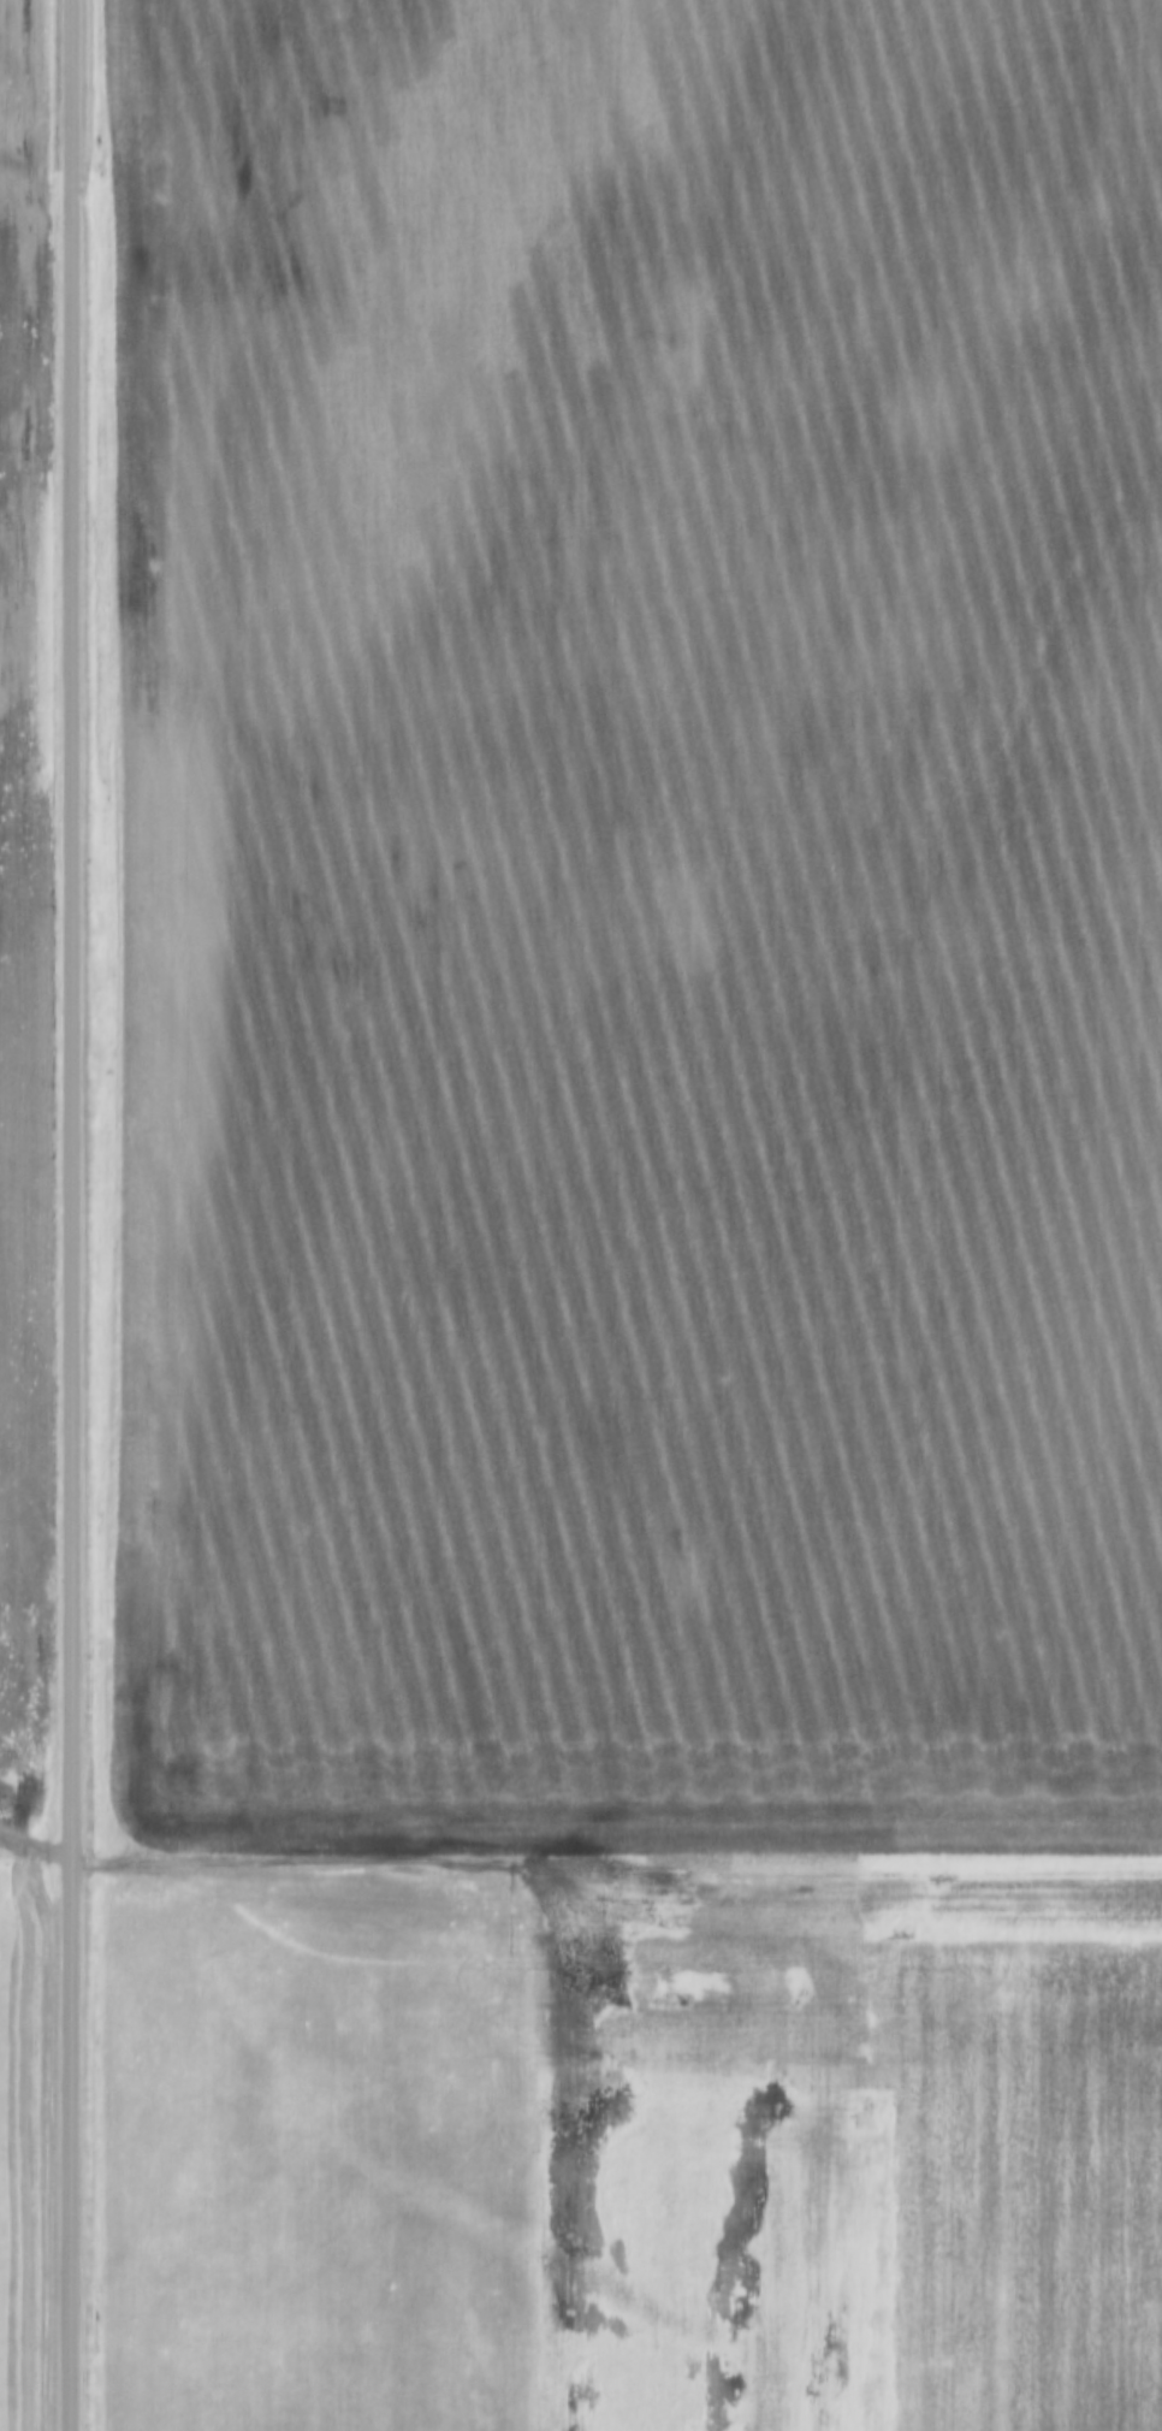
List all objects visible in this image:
road: (77, 1215)

